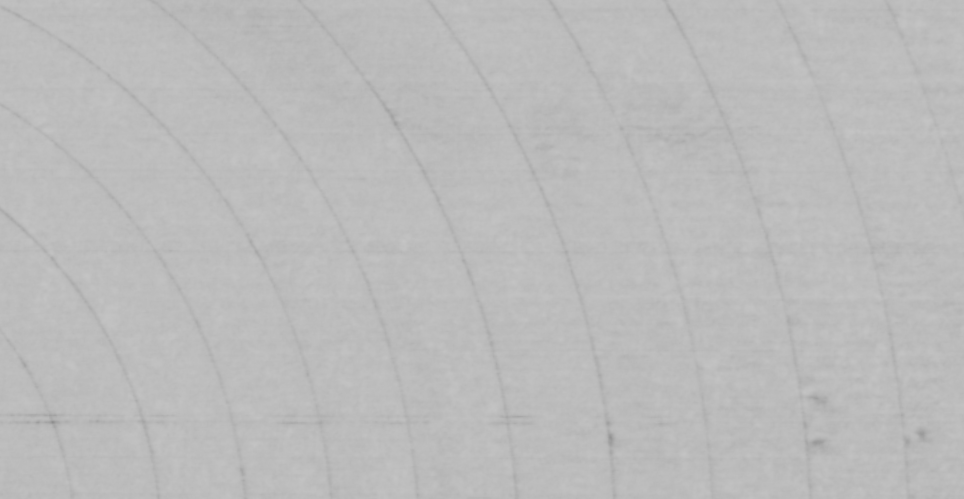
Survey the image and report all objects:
crop: (482, 249)

